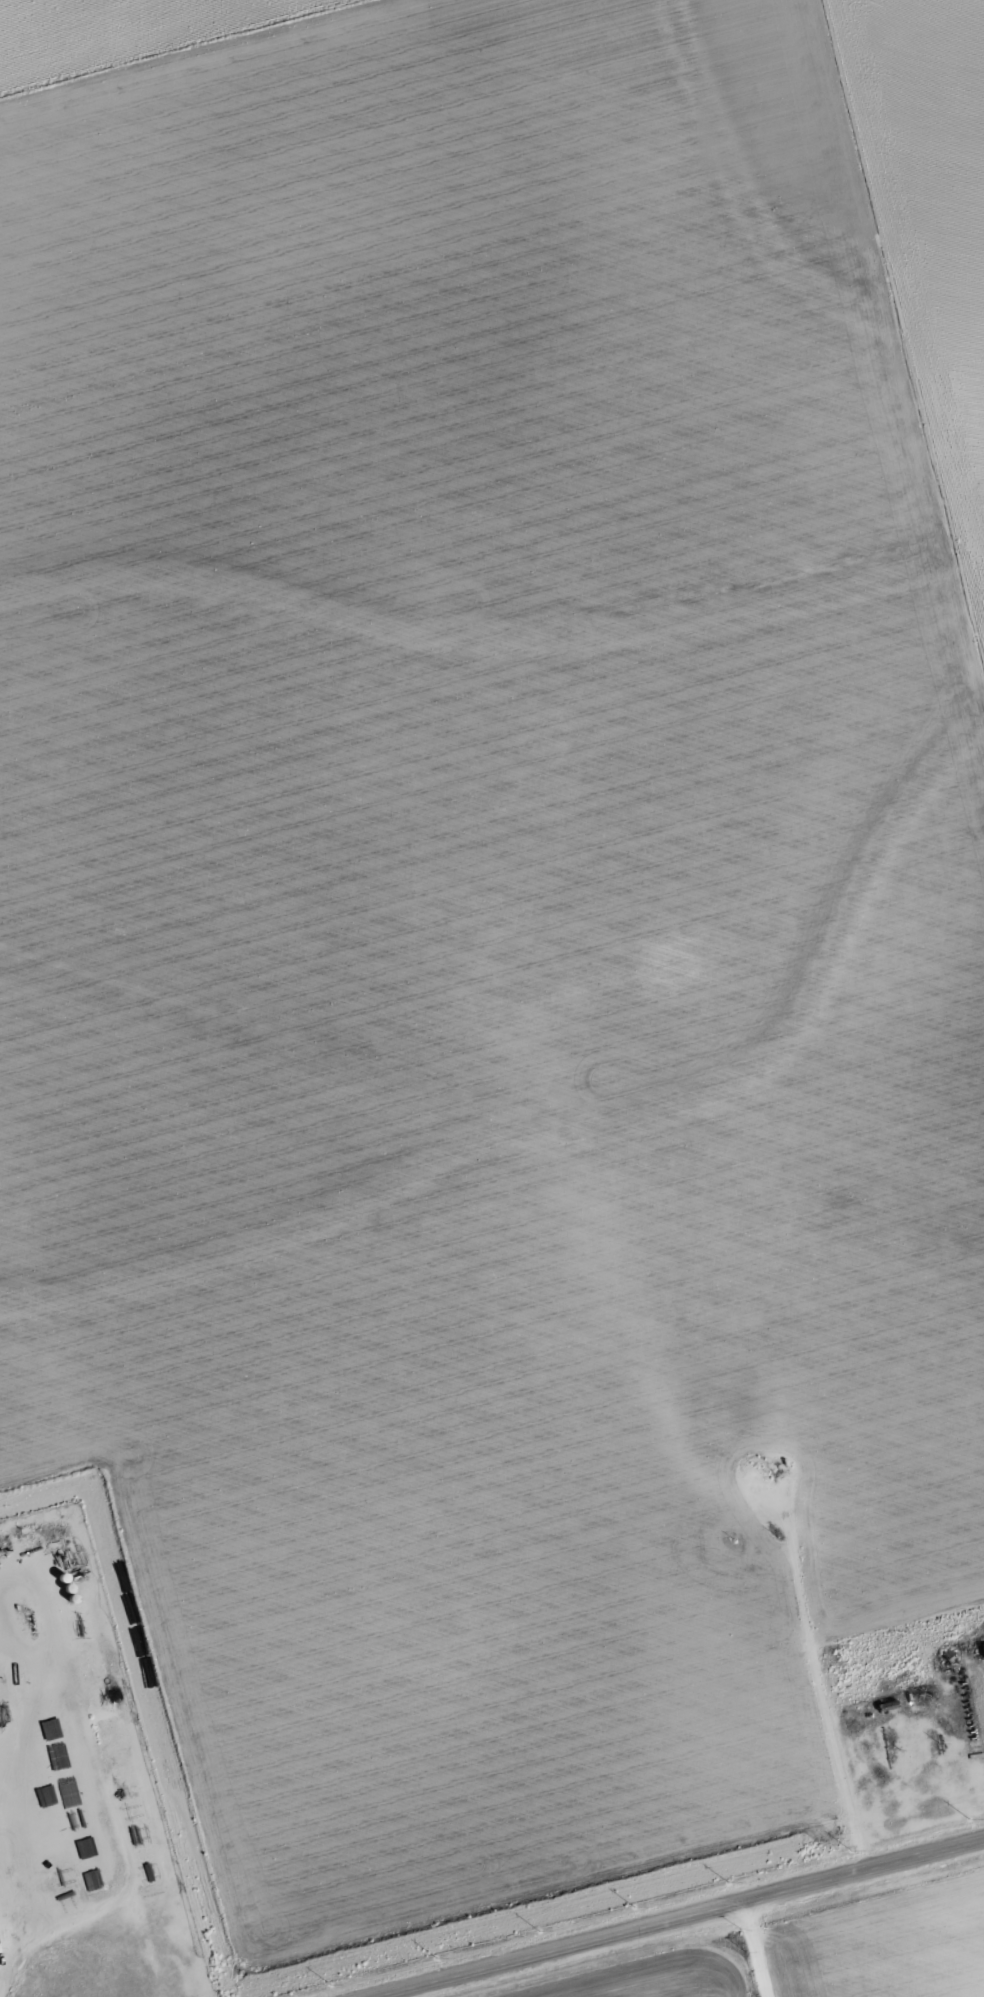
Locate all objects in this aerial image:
building: (982, 1649)
road: (828, 1723)
road: (678, 1917)
road: (747, 1948)

